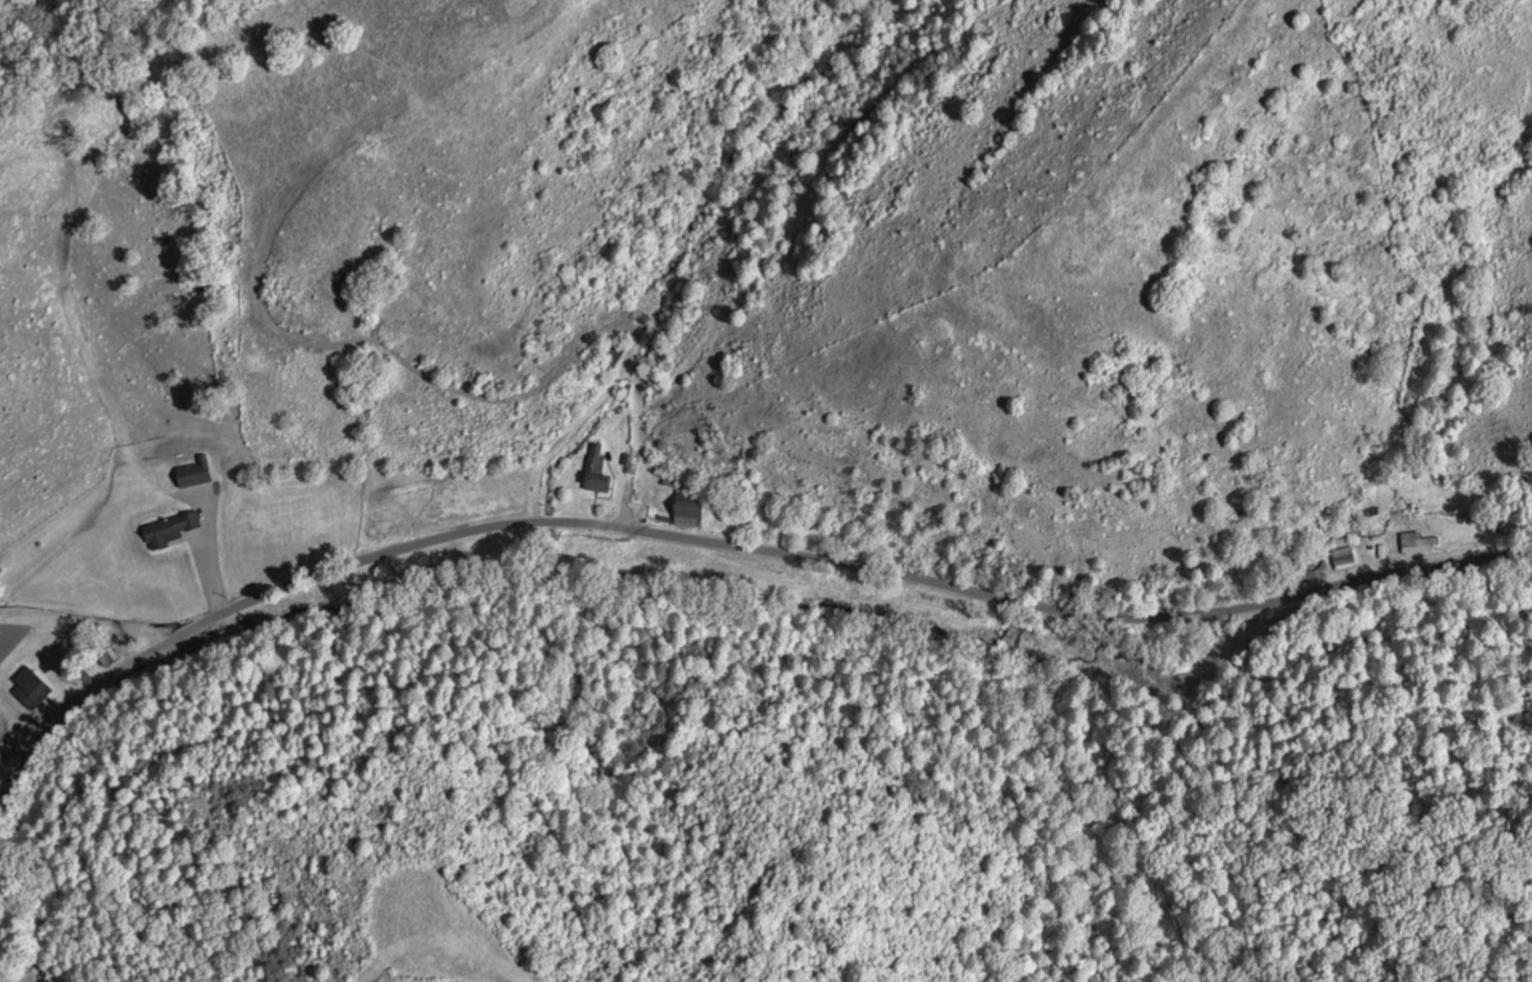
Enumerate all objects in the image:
building: (610, 356)
building: (595, 471)
building: (686, 514)
building: (169, 531)
building: (1417, 543)
road: (726, 545)
building: (1342, 558)
building: (107, 657)
building: (29, 688)
road: (129, 822)

